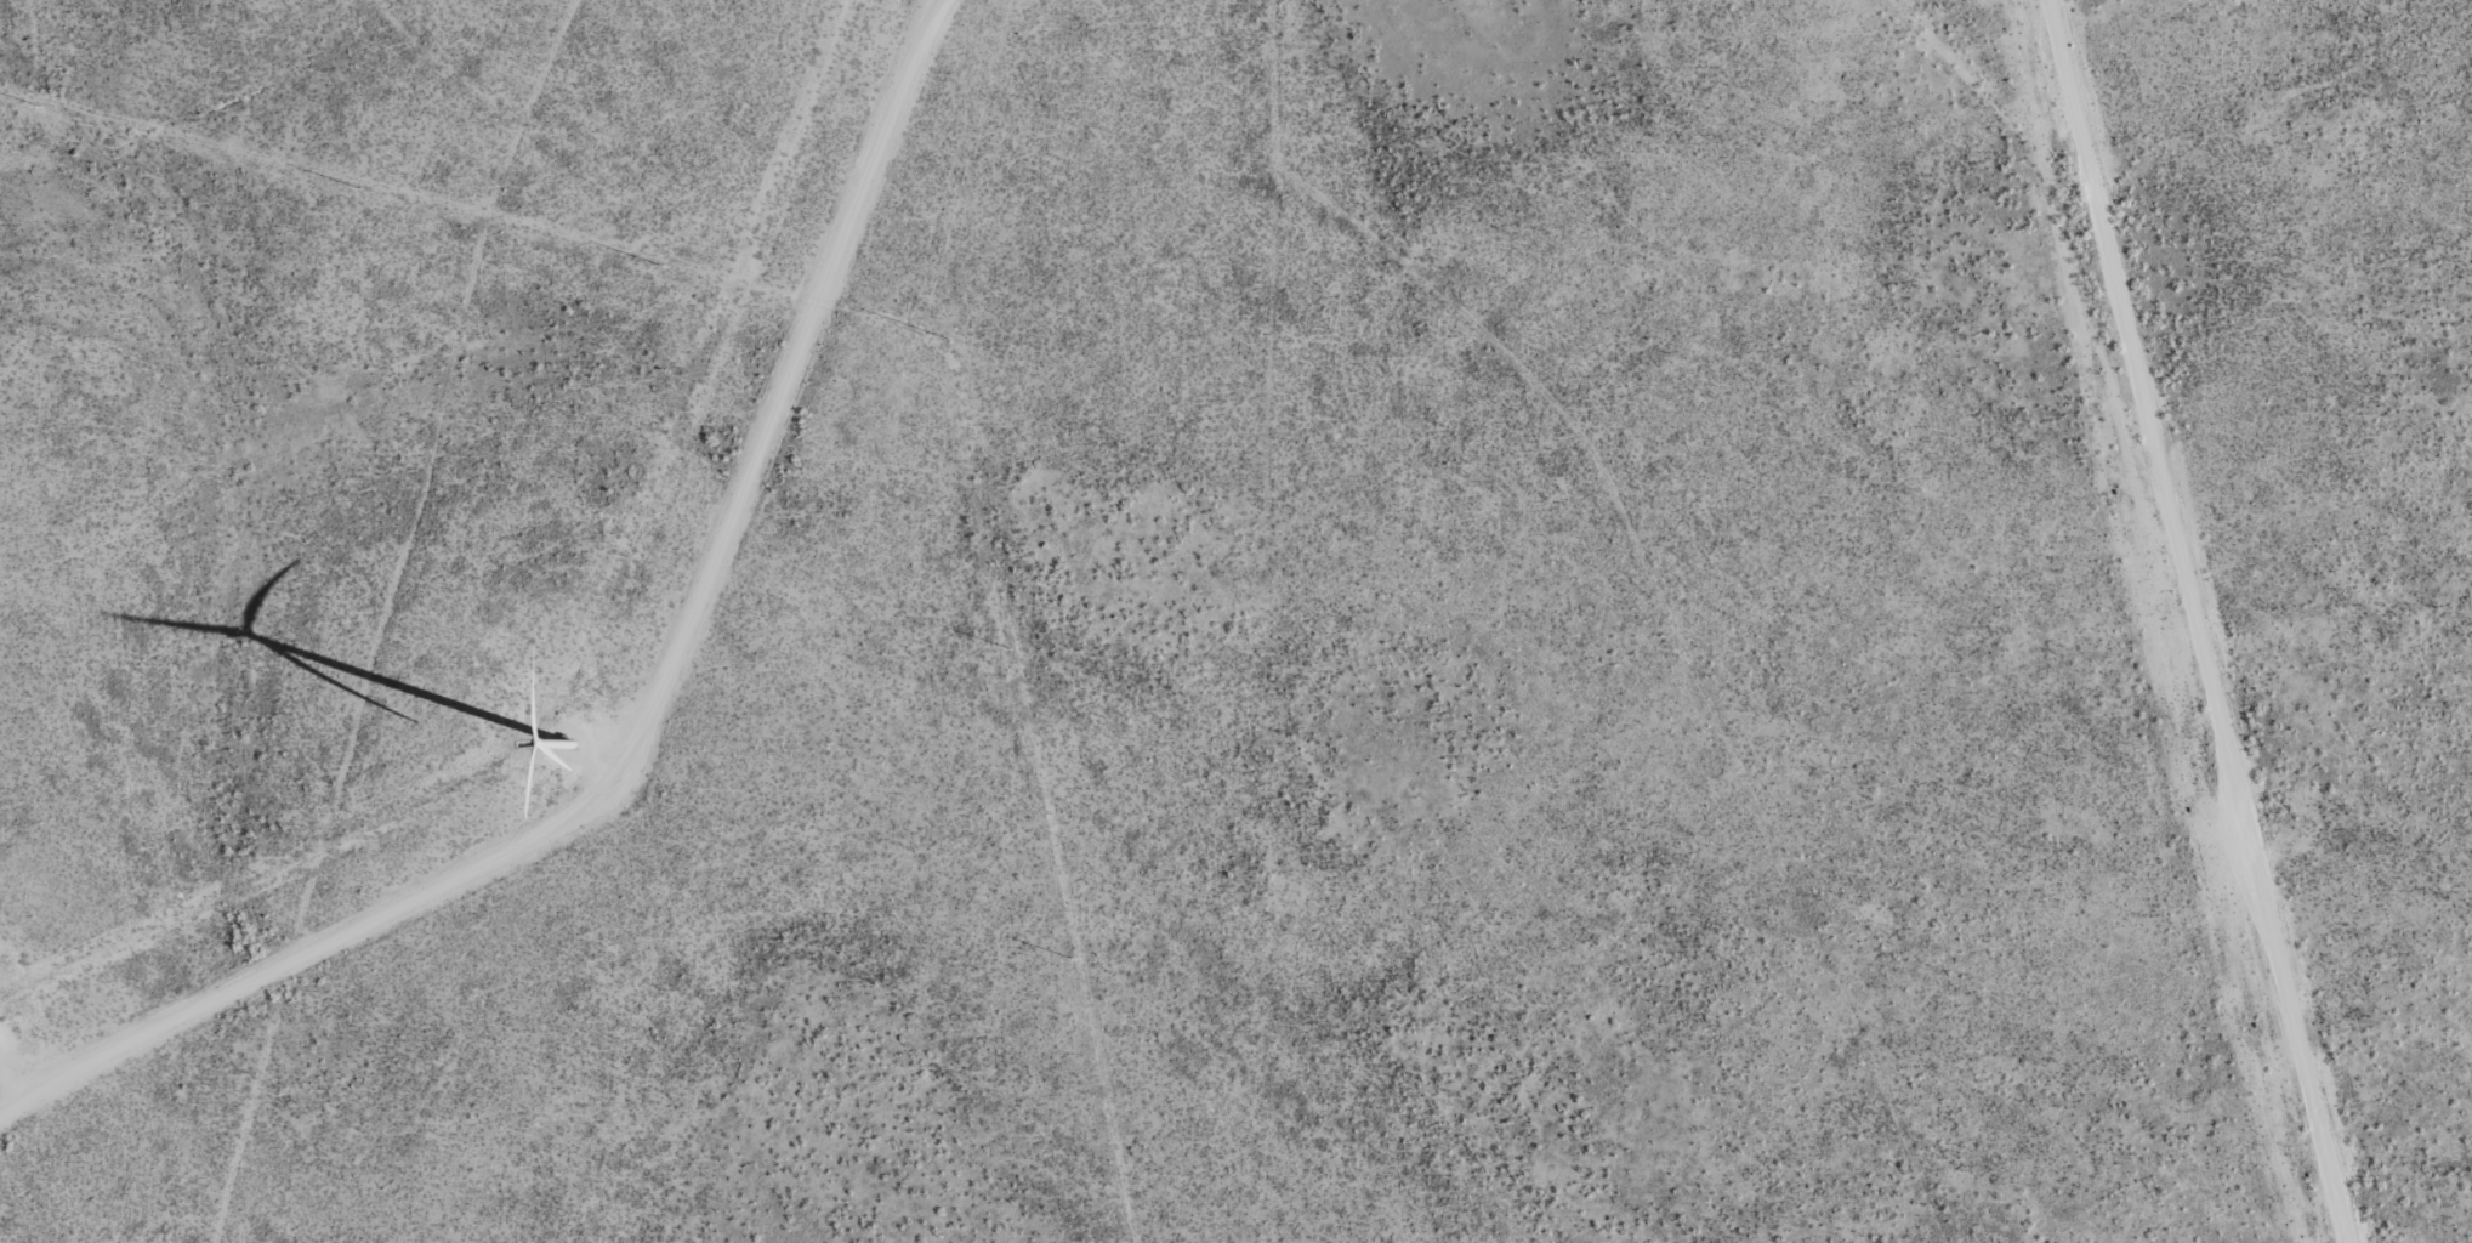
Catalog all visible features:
power tower: (36, 107)
power tower: (357, 187)
power tower: (947, 340)
power tower: (1008, 648)
wind turbine: (551, 736)
power tower: (1072, 959)

